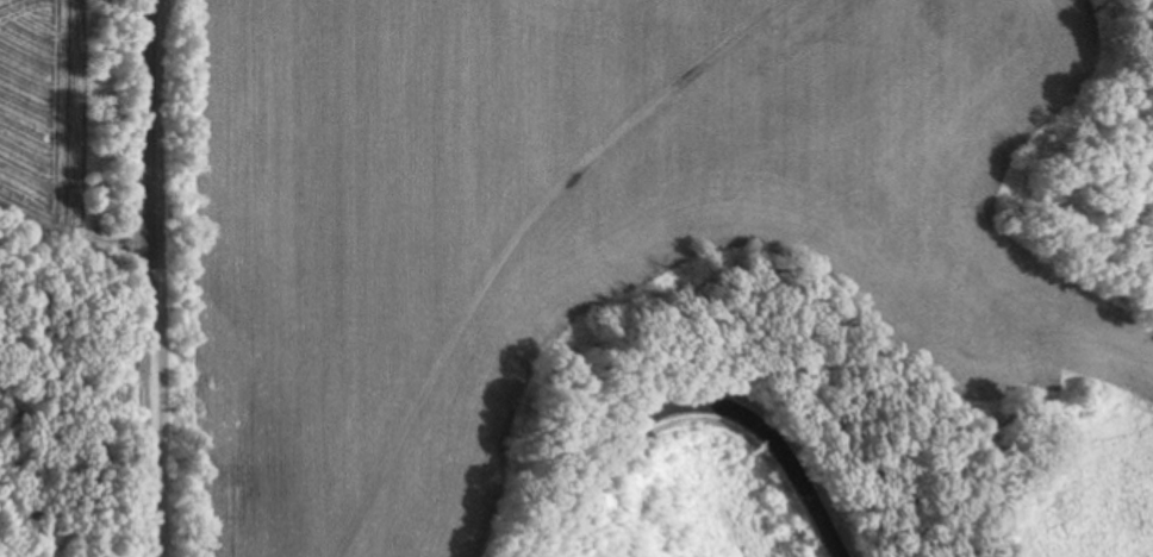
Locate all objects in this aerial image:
crop: (79, 112)
crop: (594, 237)
road: (155, 278)
road: (693, 395)
crop: (125, 550)

